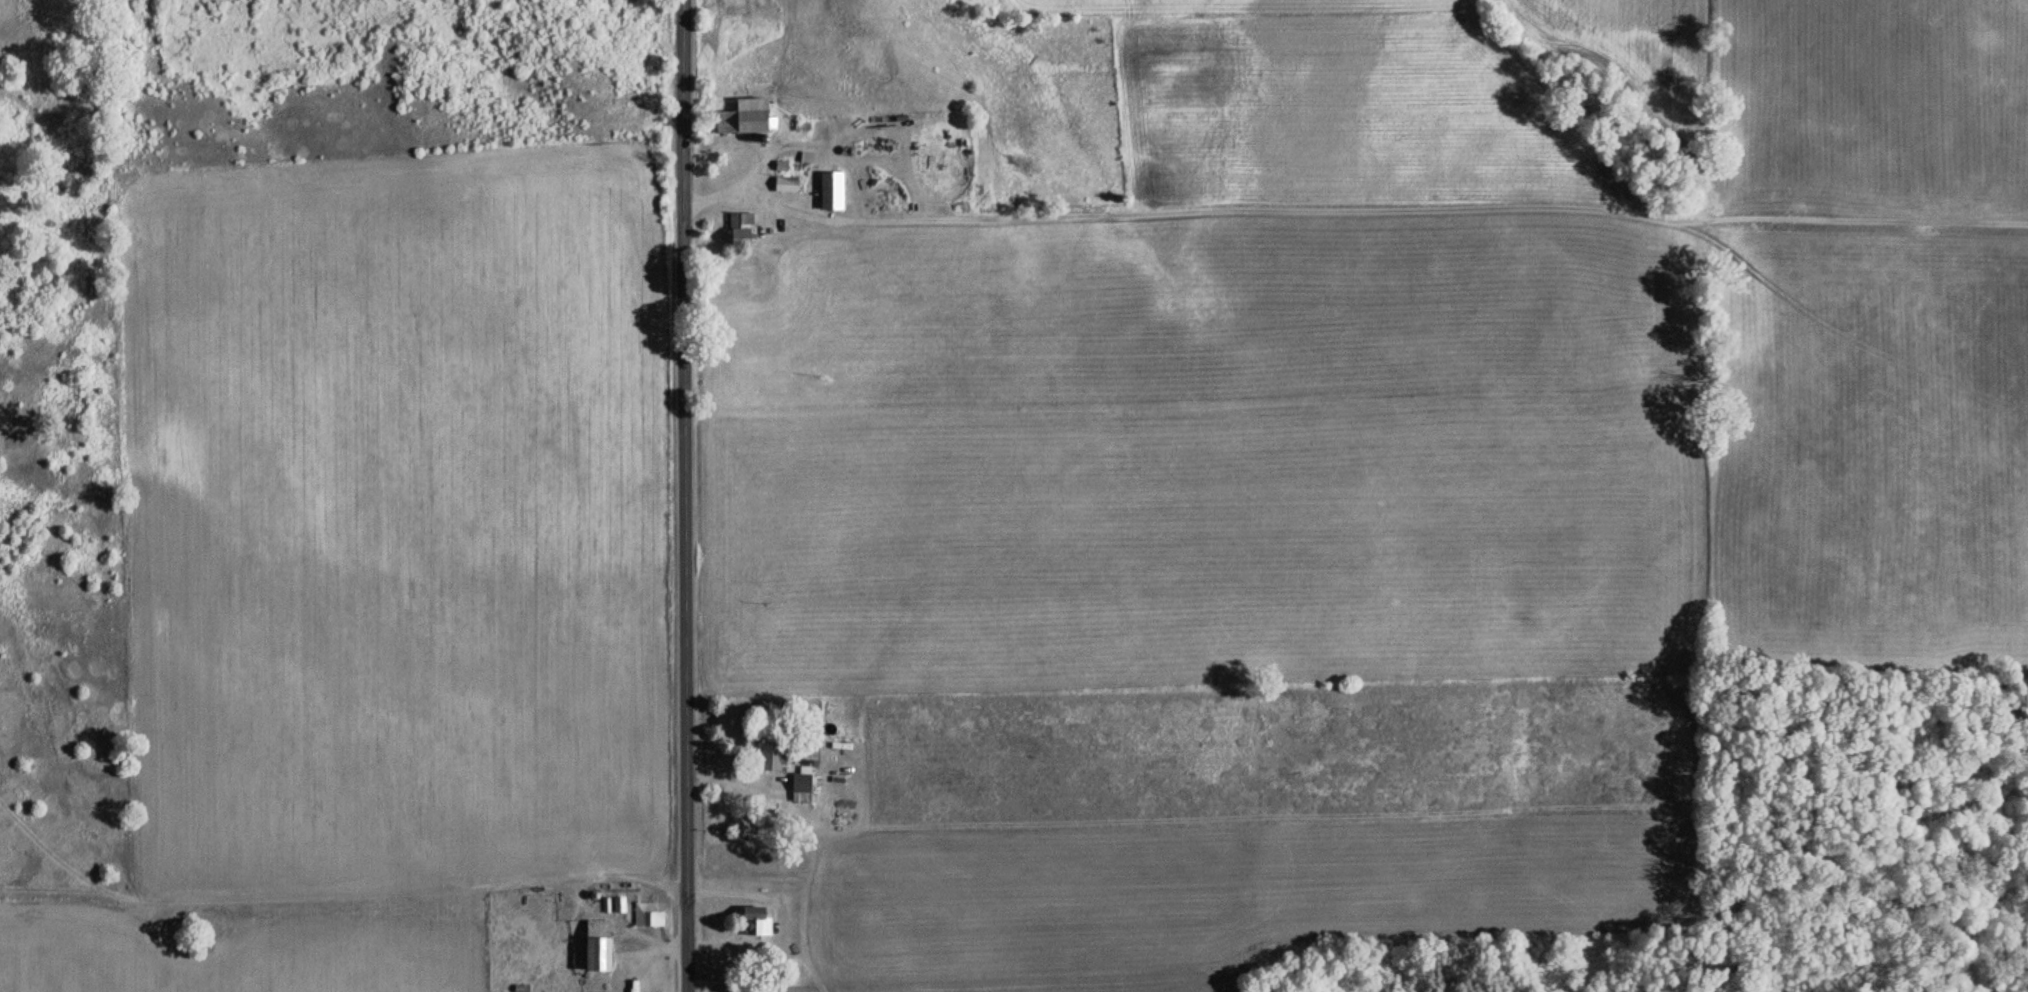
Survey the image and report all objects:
building: (742, 118)
building: (782, 184)
building: (828, 191)
building: (737, 230)
road: (677, 496)
building: (768, 758)
building: (801, 786)
building: (644, 914)
building: (753, 921)
building: (594, 944)

